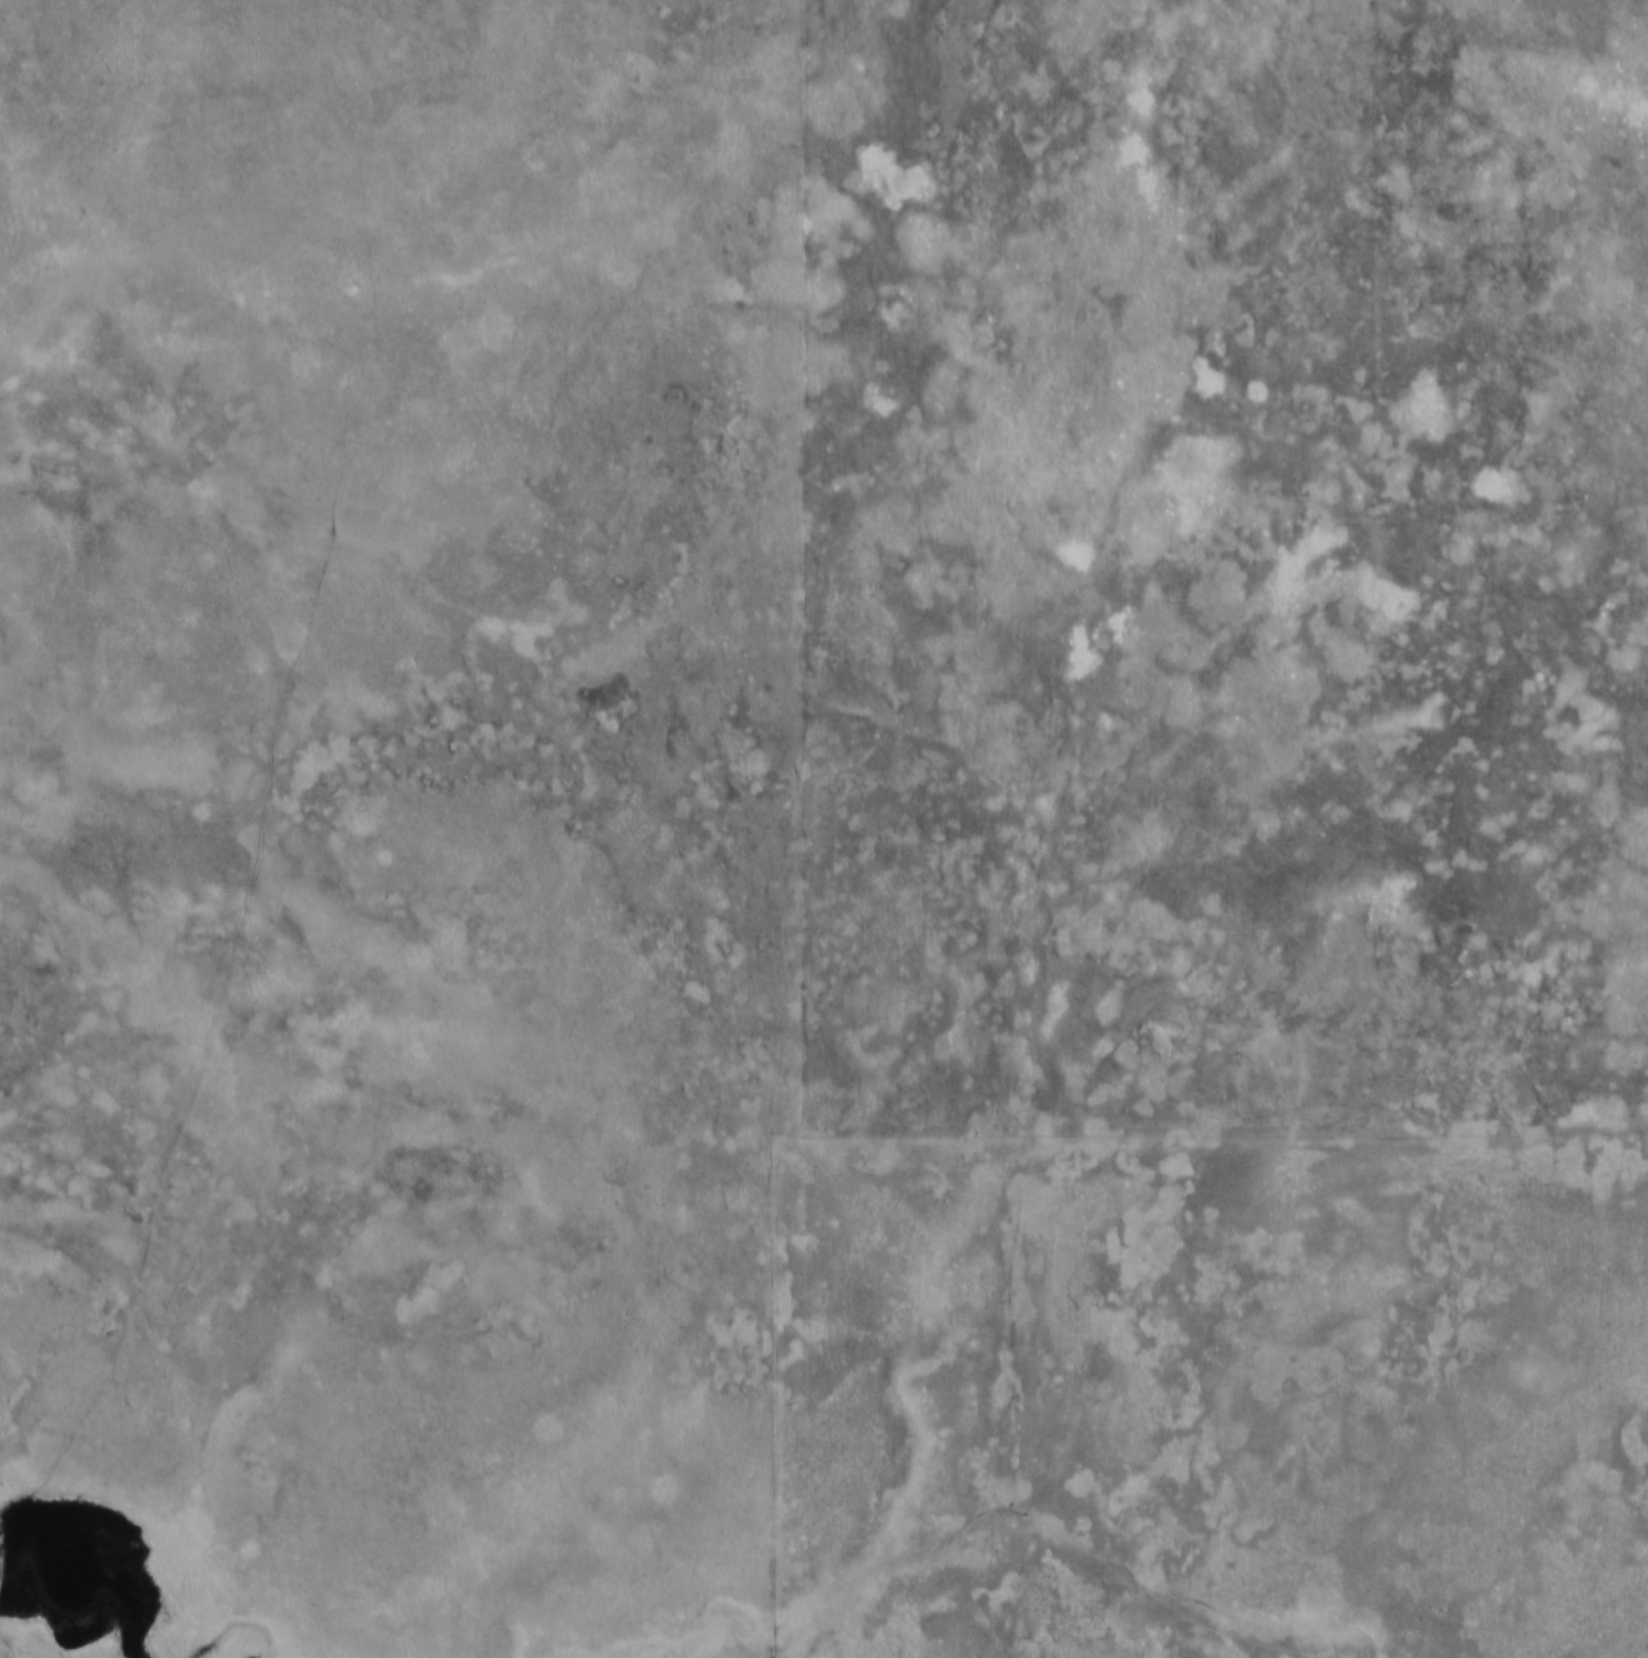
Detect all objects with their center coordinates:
dam: (1, 1500)

